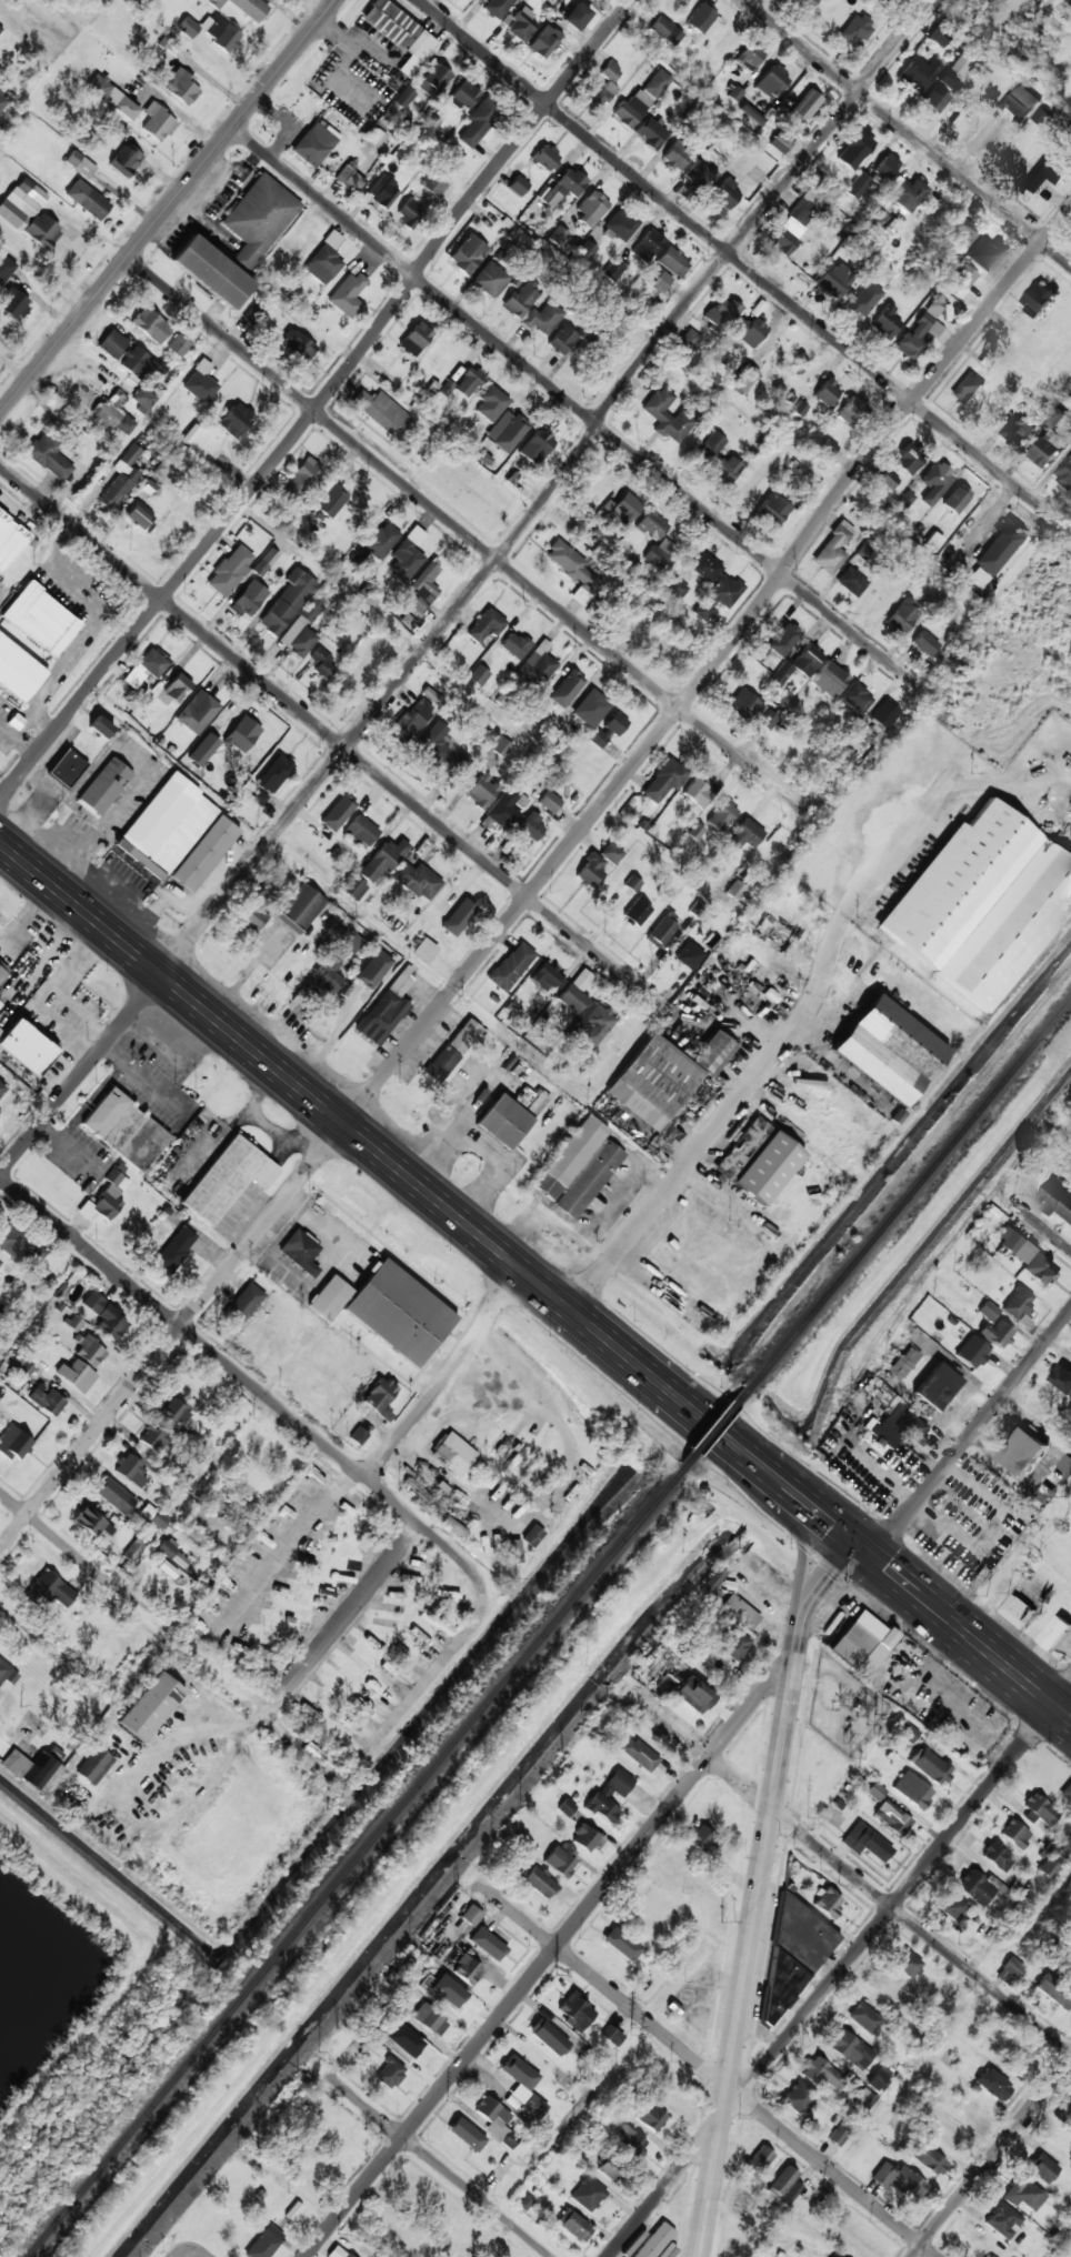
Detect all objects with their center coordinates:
building: (594, 1)
building: (808, 3)
building: (250, 8)
building: (497, 8)
building: (577, 17)
building: (700, 18)
building: (521, 26)
building: (0, 29)
building: (855, 30)
building: (212, 31)
building: (664, 31)
building: (400, 33)
building: (939, 36)
building: (164, 41)
building: (543, 41)
building: (749, 57)
building: (960, 64)
building: (610, 72)
building: (917, 74)
building: (434, 80)
building: (772, 82)
building: (657, 83)
building: (179, 86)
building: (940, 91)
building: (599, 92)
building: (733, 92)
building: (464, 96)
building: (113, 98)
building: (404, 98)
building: (3, 99)
building: (1020, 102)
building: (805, 106)
building: (631, 109)
building: (750, 114)
building: (1042, 116)
building: (158, 122)
building: (478, 123)
building: (429, 124)
building: (650, 132)
road: (907, 133)
building: (779, 143)
building: (313, 144)
building: (854, 150)
building: (677, 156)
building: (544, 158)
building: (126, 161)
building: (84, 168)
building: (884, 170)
building: (1047, 172)
building: (700, 174)
building: (350, 175)
building: (434, 183)
building: (518, 185)
building: (858, 185)
building: (563, 187)
building: (722, 192)
building: (908, 194)
building: (87, 200)
building: (21, 203)
road: (168, 207)
building: (591, 208)
building: (409, 213)
building: (875, 218)
building: (259, 220)
building: (794, 222)
building: (620, 225)
building: (42, 230)
building: (962, 232)
building: (559, 237)
building: (648, 245)
building: (587, 251)
building: (984, 252)
building: (467, 254)
road: (734, 258)
building: (326, 260)
building: (672, 262)
building: (6, 268)
building: (212, 272)
building: (963, 277)
building: (490, 280)
building: (833, 280)
building: (349, 294)
building: (1038, 299)
building: (864, 300)
building: (521, 301)
building: (13, 304)
building: (720, 313)
building: (543, 318)
building: (885, 322)
building: (151, 325)
building: (750, 332)
building: (416, 339)
building: (562, 340)
building: (689, 340)
building: (112, 344)
building: (179, 345)
building: (298, 345)
building: (137, 363)
building: (744, 377)
building: (200, 383)
building: (468, 383)
building: (682, 384)
building: (106, 387)
building: (446, 388)
building: (967, 390)
building: (827, 393)
building: (118, 399)
building: (142, 400)
road: (319, 400)
building: (491, 403)
road: (578, 408)
building: (381, 411)
building: (853, 412)
building: (667, 417)
building: (1055, 417)
building: (112, 418)
building: (236, 421)
building: (507, 431)
building: (1018, 431)
building: (535, 447)
building: (711, 447)
building: (828, 448)
building: (1047, 448)
building: (49, 457)
building: (908, 460)
building: (727, 469)
building: (1064, 472)
building: (122, 478)
building: (888, 480)
building: (934, 483)
building: (905, 499)
building: (957, 499)
building: (330, 500)
building: (773, 509)
building: (140, 515)
building: (651, 525)
road: (466, 535)
building: (379, 540)
building: (9, 541)
building: (932, 542)
building: (1000, 546)
building: (832, 550)
building: (863, 551)
building: (658, 553)
building: (408, 554)
building: (705, 568)
building: (230, 571)
building: (573, 571)
building: (851, 582)
building: (675, 588)
road: (471, 590)
building: (420, 592)
building: (718, 596)
building: (251, 598)
building: (288, 602)
building: (903, 616)
building: (40, 619)
building: (486, 625)
building: (301, 630)
building: (784, 640)
building: (924, 644)
building: (514, 645)
building: (758, 652)
building: (540, 662)
building: (322, 663)
building: (799, 664)
building: (147, 669)
building: (19, 671)
building: (478, 675)
building: (829, 680)
building: (177, 689)
building: (565, 689)
building: (855, 698)
building: (742, 704)
building: (590, 709)
building: (198, 712)
building: (410, 722)
building: (879, 722)
building: (100, 728)
building: (609, 730)
building: (242, 734)
road: (331, 736)
building: (208, 744)
building: (441, 748)
building: (501, 748)
building: (67, 769)
building: (271, 779)
building: (664, 781)
building: (104, 786)
building: (481, 791)
building: (698, 793)
building: (549, 802)
building: (508, 807)
building: (338, 813)
building: (722, 816)
building: (166, 826)
building: (361, 831)
building: (745, 835)
building: (203, 853)
building: (611, 853)
building: (384, 859)
building: (591, 870)
road: (540, 880)
building: (418, 881)
building: (632, 883)
building: (352, 887)
building: (981, 904)
building: (302, 907)
building: (256, 912)
building: (637, 912)
building: (458, 917)
building: (663, 929)
building: (350, 941)
building: (424, 951)
building: (689, 955)
building: (511, 966)
building: (2, 970)
building: (373, 970)
building: (544, 976)
building: (324, 977)
building: (572, 999)
building: (0, 1004)
building: (387, 1010)
building: (595, 1024)
building: (0, 1030)
building: (464, 1036)
road: (743, 1036)
building: (883, 1046)
building: (27, 1047)
building: (712, 1053)
building: (442, 1063)
road: (283, 1075)
building: (653, 1082)
building: (503, 1122)
building: (126, 1130)
building: (742, 1148)
building: (760, 1167)
building: (578, 1168)
building: (227, 1180)
railway: (908, 1190)
building: (1059, 1198)
building: (104, 1200)
road: (1049, 1233)
building: (11, 1241)
building: (176, 1248)
building: (300, 1252)
building: (674, 1260)
building: (1027, 1260)
building: (329, 1297)
building: (243, 1302)
building: (1017, 1308)
building: (987, 1311)
building: (399, 1313)
building: (106, 1316)
building: (995, 1333)
road: (622, 1353)
building: (972, 1353)
building: (905, 1361)
road: (232, 1371)
road: (440, 1373)
building: (77, 1376)
building: (1062, 1378)
building: (937, 1387)
building: (882, 1395)
building: (380, 1398)
building: (47, 1401)
building: (176, 1412)
road: (711, 1425)
railway: (712, 1427)
building: (900, 1427)
road: (971, 1434)
building: (358, 1436)
building: (154, 1438)
building: (13, 1444)
building: (501, 1447)
building: (1022, 1452)
building: (452, 1454)
road: (760, 1465)
building: (1067, 1465)
building: (131, 1471)
road: (792, 1492)
building: (117, 1498)
road: (12, 1505)
building: (153, 1516)
traffic signals: (902, 1522)
building: (92, 1523)
road: (831, 1524)
traffic signals: (831, 1524)
building: (376, 1532)
building: (531, 1536)
building: (496, 1544)
building: (134, 1551)
road: (863, 1551)
building: (172, 1553)
building: (512, 1554)
road: (283, 1556)
road: (801, 1561)
road: (86, 1564)
traffic signals: (887, 1568)
building: (168, 1569)
traffic signals: (824, 1576)
building: (710, 1583)
road: (905, 1584)
building: (49, 1592)
building: (1018, 1611)
road: (349, 1613)
building: (737, 1614)
building: (436, 1624)
building: (1054, 1633)
building: (857, 1641)
building: (734, 1646)
road: (441, 1665)
road: (1003, 1665)
building: (903, 1673)
building: (8, 1674)
building: (665, 1683)
building: (692, 1695)
building: (151, 1707)
building: (638, 1754)
building: (323, 1761)
building: (94, 1766)
building: (34, 1768)
building: (932, 1768)
building: (912, 1792)
building: (1067, 1792)
building: (601, 1794)
building: (565, 1808)
building: (1040, 1810)
building: (892, 1818)
building: (1014, 1835)
building: (584, 1838)
building: (702, 1840)
building: (865, 1843)
building: (997, 1857)
railway: (350, 1860)
building: (559, 1860)
building: (1049, 1860)
road: (854, 1877)
building: (539, 1884)
building: (984, 1889)
road: (759, 1892)
building: (828, 1904)
building: (953, 1908)
building: (469, 1916)
building: (488, 1942)
building: (620, 1948)
building: (795, 1950)
road: (551, 1952)
building: (907, 1965)
building: (466, 1969)
road: (838, 1970)
building: (1011, 1972)
building: (1069, 1974)
building: (1070, 1977)
building: (446, 1993)
building: (1054, 1993)
building: (574, 2013)
building: (864, 2018)
building: (429, 2019)
building: (768, 2019)
building: (611, 2036)
building: (549, 2037)
building: (409, 2045)
building: (849, 2053)
building: (540, 2069)
building: (389, 2074)
building: (820, 2074)
road: (714, 2075)
building: (879, 2078)
building: (518, 2079)
building: (992, 2085)
building: (798, 2098)
building: (863, 2098)
building: (533, 2106)
building: (970, 2108)
building: (1070, 2115)
building: (650, 2117)
building: (496, 2121)
building: (838, 2136)
building: (464, 2138)
building: (628, 2140)
road: (991, 2157)
building: (928, 2159)
building: (757, 2161)
road: (439, 2165)
building: (501, 2168)
building: (610, 2168)
building: (1042, 2168)
building: (780, 2181)
building: (899, 2181)
building: (791, 2193)
building: (1022, 2194)
building: (588, 2195)
building: (293, 2210)
building: (1002, 2220)
building: (573, 2226)
building: (654, 2241)
building: (264, 2243)
road: (186, 2250)
building: (337, 2253)
building: (833, 2256)

